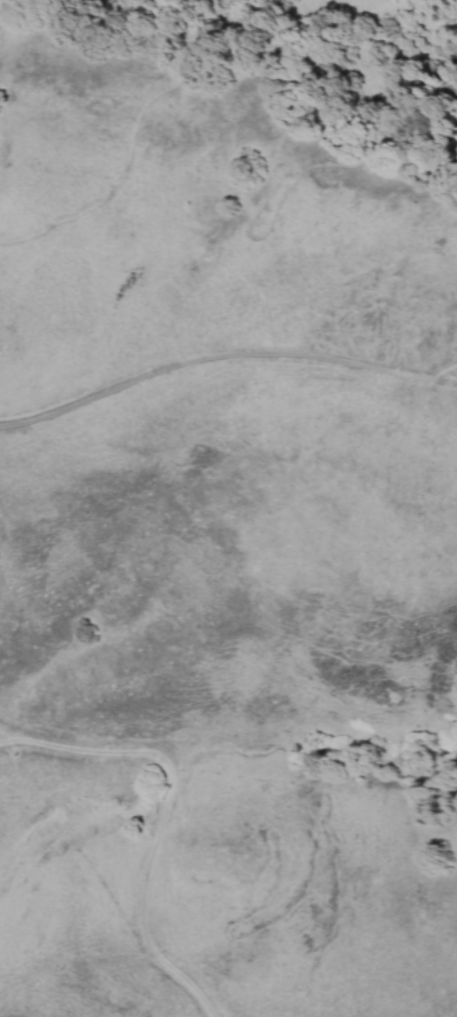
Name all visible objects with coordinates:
road: (6, 8)
road: (191, 73)
road: (2, 116)
road: (252, 219)
road: (214, 359)
road: (446, 373)
road: (446, 383)
road: (164, 812)
road: (279, 875)

